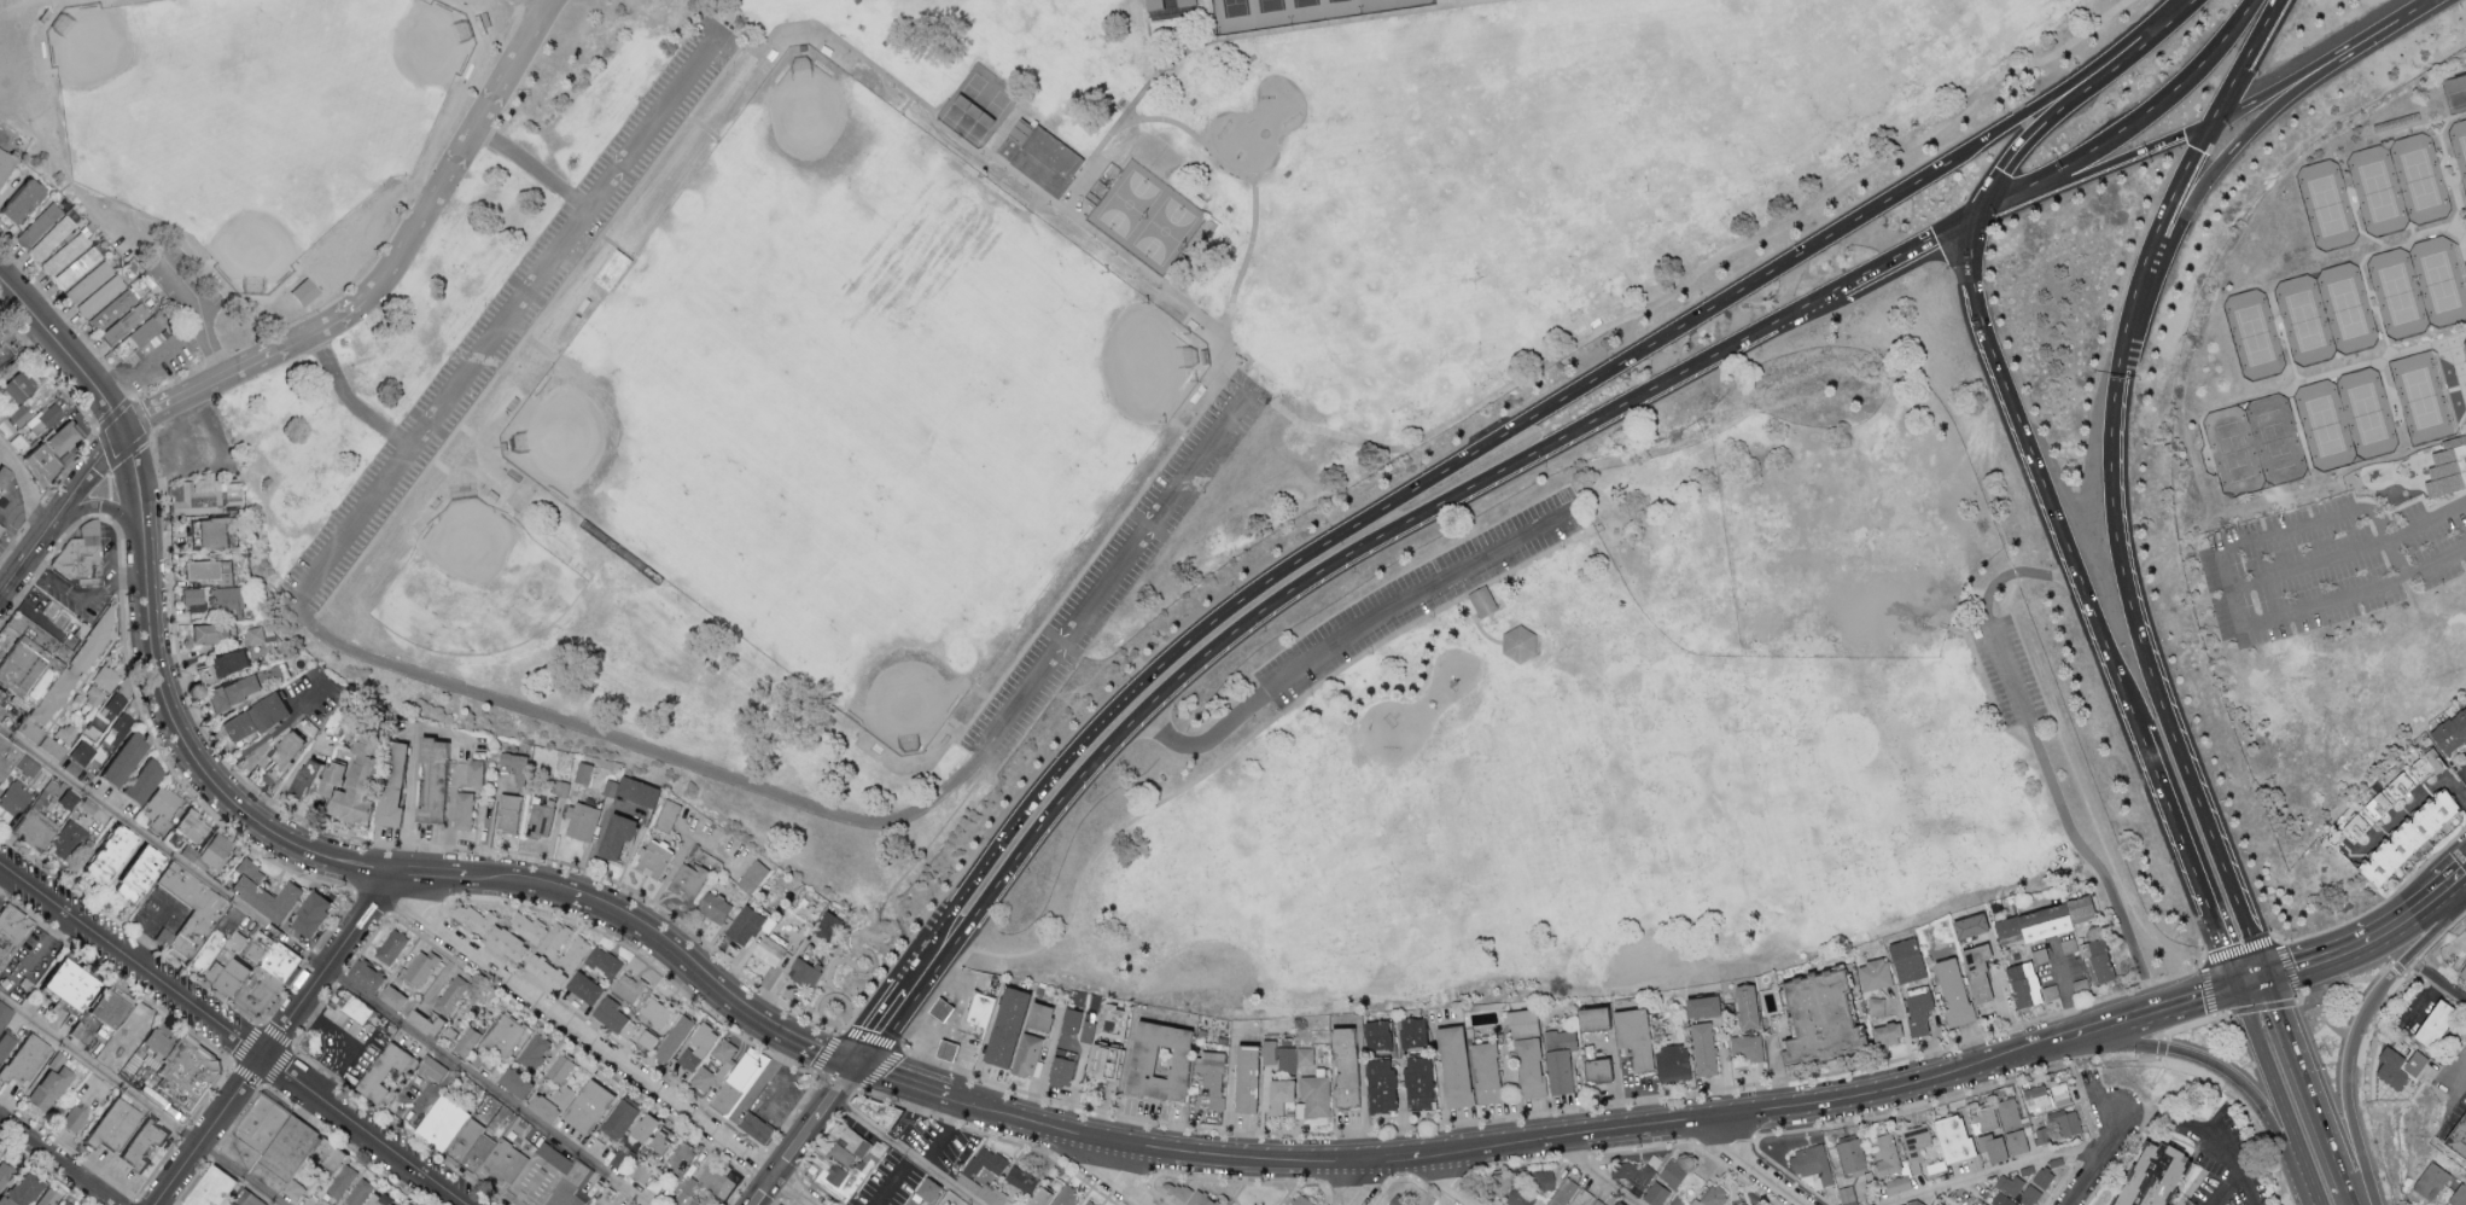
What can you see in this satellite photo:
road: (1456, 2)
building: (1187, 4)
building: (1154, 6)
park: (1294, 12)
road: (1211, 19)
road: (2398, 23)
road: (1241, 35)
road: (2248, 60)
road: (2068, 78)
road: (2289, 83)
building: (2455, 91)
road: (2074, 99)
road: (905, 106)
park: (978, 106)
park: (252, 113)
road: (2144, 113)
traffic signals: (2217, 121)
building: (2396, 123)
road: (703, 128)
park: (2459, 146)
road: (2, 149)
building: (1040, 156)
building: (2, 162)
road: (2222, 162)
road: (2115, 164)
road: (536, 167)
road: (2454, 169)
road: (2444, 173)
park: (2419, 179)
road: (1252, 181)
park: (2378, 191)
building: (14, 200)
road: (1033, 202)
park: (2327, 205)
road: (1994, 206)
traffic signals: (1978, 214)
road: (2168, 216)
park: (1149, 217)
road: (2359, 227)
building: (45, 231)
road: (410, 237)
road: (2462, 244)
road: (1912, 248)
building: (65, 254)
road: (1141, 268)
building: (612, 270)
building: (81, 279)
road: (179, 279)
park: (2441, 280)
road: (2369, 292)
park: (2398, 295)
road: (1159, 297)
park: (2347, 308)
building: (115, 309)
parking lot: (507, 319)
road: (509, 320)
park: (921, 320)
park: (2304, 321)
road: (41, 326)
park: (2255, 336)
building: (140, 340)
building: (2465, 343)
road: (2429, 345)
road: (541, 348)
road: (2287, 350)
building: (2464, 351)
road: (170, 355)
road: (2459, 363)
road: (2337, 372)
road: (119, 379)
building: (16, 380)
road: (115, 383)
road: (106, 391)
road: (100, 392)
park: (2424, 397)
road: (99, 400)
road: (163, 400)
road: (351, 401)
park: (852, 402)
road: (84, 403)
road: (2226, 406)
road: (77, 407)
road: (162, 409)
road: (168, 411)
park: (2367, 413)
building: (45, 417)
road: (165, 417)
street lamp: (93, 419)
road: (171, 421)
park: (2325, 425)
road: (106, 427)
road: (2298, 427)
building: (2465, 432)
building: (58, 438)
park: (2275, 438)
building: (69, 442)
street lamp: (147, 449)
road: (87, 452)
park: (2233, 452)
building: (27, 455)
road: (97, 456)
road: (98, 461)
road: (104, 462)
building: (47, 465)
road: (194, 466)
building: (2448, 470)
road: (128, 471)
road: (138, 471)
road: (152, 471)
road: (110, 473)
road: (133, 473)
road: (118, 476)
street lamp: (159, 476)
road: (2037, 476)
road: (158, 482)
road: (27, 485)
road: (115, 489)
building: (206, 501)
road: (1387, 503)
road: (104, 510)
road: (109, 510)
road: (105, 519)
road: (105, 520)
street lamp: (112, 522)
road: (144, 525)
building: (1, 532)
building: (209, 532)
road: (2385, 535)
road: (42, 539)
road: (2349, 552)
building: (82, 558)
road: (1335, 560)
road: (115, 567)
building: (206, 569)
parking lot: (1114, 571)
road: (1112, 574)
road: (132, 583)
park: (477, 584)
parking lot: (1421, 593)
building: (193, 600)
building: (1482, 602)
street lamp: (11, 611)
road: (1432, 612)
road: (2243, 624)
building: (82, 633)
building: (206, 633)
building: (253, 634)
road: (1351, 635)
building: (1518, 645)
road: (2144, 654)
building: (28, 659)
building: (222, 665)
parking lot: (2007, 671)
building: (104, 679)
building: (232, 691)
building: (91, 697)
building: (110, 706)
building: (252, 717)
park: (1637, 726)
building: (2449, 730)
road: (272, 732)
road: (180, 737)
road: (634, 744)
building: (280, 749)
building: (80, 753)
building: (7, 755)
road: (2037, 759)
building: (123, 763)
building: (513, 766)
building: (23, 768)
building: (472, 770)
building: (302, 772)
road: (2073, 774)
road: (2461, 774)
building: (431, 776)
building: (345, 779)
building: (387, 782)
building: (142, 785)
building: (559, 786)
building: (630, 788)
building: (2390, 793)
building: (12, 797)
building: (66, 798)
road: (2413, 802)
building: (86, 805)
building: (161, 808)
building: (462, 809)
building: (506, 810)
building: (538, 816)
building: (581, 819)
road: (1120, 825)
building: (191, 827)
building: (34, 829)
building: (613, 833)
building: (2402, 837)
building: (69, 843)
road: (409, 844)
building: (215, 850)
building: (107, 855)
building: (653, 856)
road: (2186, 857)
road: (360, 866)
building: (136, 874)
road: (432, 875)
building: (751, 875)
road: (5, 878)
building: (686, 880)
road: (888, 881)
building: (261, 890)
road: (558, 891)
road: (2379, 900)
building: (712, 906)
building: (191, 908)
building: (307, 912)
building: (472, 916)
building: (2042, 919)
building: (1966, 922)
building: (744, 924)
building: (826, 924)
building: (525, 925)
building: (11, 933)
building: (552, 937)
road: (2372, 937)
road: (2436, 937)
building: (503, 941)
building: (390, 945)
road: (2278, 947)
building: (768, 948)
building: (572, 951)
building: (210, 953)
building: (2091, 956)
building: (1905, 959)
road: (130, 960)
building: (602, 960)
road: (328, 964)
building: (244, 965)
road: (326, 965)
building: (418, 967)
building: (542, 968)
road: (2396, 968)
building: (1975, 970)
building: (2462, 970)
building: (801, 971)
building: (362, 972)
building: (1873, 973)
traffic signals: (2263, 976)
road: (2249, 979)
road: (2344, 979)
road: (916, 982)
road: (2445, 982)
building: (274, 983)
building: (2022, 983)
traffic signals: (2234, 984)
road: (2433, 984)
building: (582, 985)
building: (1951, 989)
building: (2051, 990)
road: (2064, 990)
building: (72, 991)
building: (448, 992)
building: (389, 995)
road: (2185, 997)
building: (618, 1002)
building: (1700, 1003)
building: (1745, 1005)
road: (741, 1007)
building: (938, 1007)
building: (653, 1011)
building: (1916, 1011)
building: (356, 1013)
building: (2, 1014)
building: (1815, 1014)
building: (113, 1015)
building: (1037, 1015)
building: (1590, 1015)
building: (979, 1019)
building: (1069, 1019)
road: (2121, 1019)
building: (422, 1020)
building: (1521, 1021)
building: (2432, 1021)
building: (1003, 1024)
building: (129, 1025)
road: (2187, 1026)
road: (880, 1029)
building: (1412, 1031)
building: (1884, 1031)
road: (2354, 1031)
building: (1632, 1034)
building: (1378, 1035)
road: (2063, 1035)
building: (672, 1037)
building: (497, 1038)
building: (464, 1040)
building: (313, 1041)
building: (2, 1042)
road: (899, 1043)
road: (356, 1044)
road: (596, 1044)
building: (696, 1046)
building: (1745, 1046)
building: (163, 1047)
building: (1703, 1047)
building: (943, 1048)
road: (2159, 1048)
building: (531, 1050)
building: (1267, 1050)
building: (1096, 1053)
building: (1026, 1054)
building: (21, 1056)
building: (1293, 1056)
building: (1557, 1058)
building: (1138, 1059)
building: (1671, 1061)
building: (2414, 1061)
traffic signals: (857, 1063)
building: (1452, 1065)
building: (1527, 1066)
building: (2390, 1066)
building: (430, 1067)
building: (558, 1067)
building: (1346, 1067)
building: (1595, 1067)
building: (380, 1070)
building: (1060, 1070)
road: (2226, 1070)
building: (1485, 1071)
road: (890, 1073)
building: (1209, 1073)
road: (2459, 1075)
building: (703, 1077)
building: (512, 1079)
building: (1247, 1079)
building: (1416, 1081)
building: (46, 1082)
road: (2304, 1082)
building: (1378, 1083)
building: (740, 1084)
road: (838, 1092)
building: (561, 1093)
building: (1277, 1093)
road: (1960, 1093)
building: (2046, 1094)
road: (2278, 1094)
building: (1314, 1095)
building: (182, 1099)
road: (775, 1099)
road: (140, 1101)
building: (585, 1105)
building: (540, 1106)
road: (1737, 1110)
building: (878, 1112)
building: (2009, 1112)
road: (909, 1116)
building: (618, 1117)
road: (1496, 1117)
building: (70, 1118)
building: (1983, 1118)
building: (109, 1120)
building: (2068, 1122)
building: (444, 1124)
building: (641, 1125)
road: (206, 1130)
road: (363, 1130)
building: (758, 1131)
road: (940, 1131)
road: (2204, 1131)
building: (1952, 1136)
building: (2456, 1137)
building: (260, 1139)
building: (465, 1140)
building: (852, 1140)
building: (2013, 1140)
building: (138, 1141)
building: (655, 1141)
building: (628, 1142)
road: (1141, 1142)
building: (1916, 1145)
building: (1990, 1145)
road: (903, 1153)
road: (1407, 1153)
building: (1849, 1153)
building: (478, 1154)
building: (1887, 1154)
building: (503, 1158)
building: (290, 1159)
road: (2094, 1159)
road: (60, 1160)
building: (333, 1160)
building: (1811, 1162)
road: (788, 1163)
road: (1754, 1163)
building: (682, 1164)
building: (1935, 1165)
building: (969, 1168)
road: (1989, 1170)
building: (639, 1171)
building: (1671, 1171)
building: (839, 1172)
road: (1595, 1174)
building: (1630, 1174)
road: (1123, 1175)
building: (2147, 1175)
building: (2041, 1176)
building: (1018, 1177)
building: (538, 1178)
building: (1543, 1178)
building: (339, 1180)
road: (1441, 1180)
building: (2429, 1180)
parking lot: (890, 1181)
road: (893, 1181)
road: (1360, 1183)
building: (1896, 1183)
building: (2009, 1183)
building: (567, 1184)
building: (206, 1186)
building: (715, 1186)
building: (23, 1188)
road: (2228, 1189)
building: (357, 1191)
building: (922, 1191)
building: (1562, 1192)
building: (1183, 1193)
building: (1654, 1193)
building: (1844, 1193)
building: (2029, 1194)
building: (2458, 1194)
building: (1036, 1195)
building: (1065, 1195)
building: (1710, 1195)
building: (47, 1197)
building: (299, 1197)
building: (245, 1198)
building: (606, 1198)
building: (1518, 1198)
road: (2347, 1198)
building: (1299, 1199)
building: (2001, 1199)
building: (374, 1200)
building: (1941, 1200)
building: (1399, 1201)
building: (1677, 1201)
building: (66, 1203)
building: (1086, 1203)
building: (1743, 1203)
building: (1912, 1203)
building: (1981, 1203)
building: (317, 1204)
building: (403, 1204)
building: (1614, 1204)

